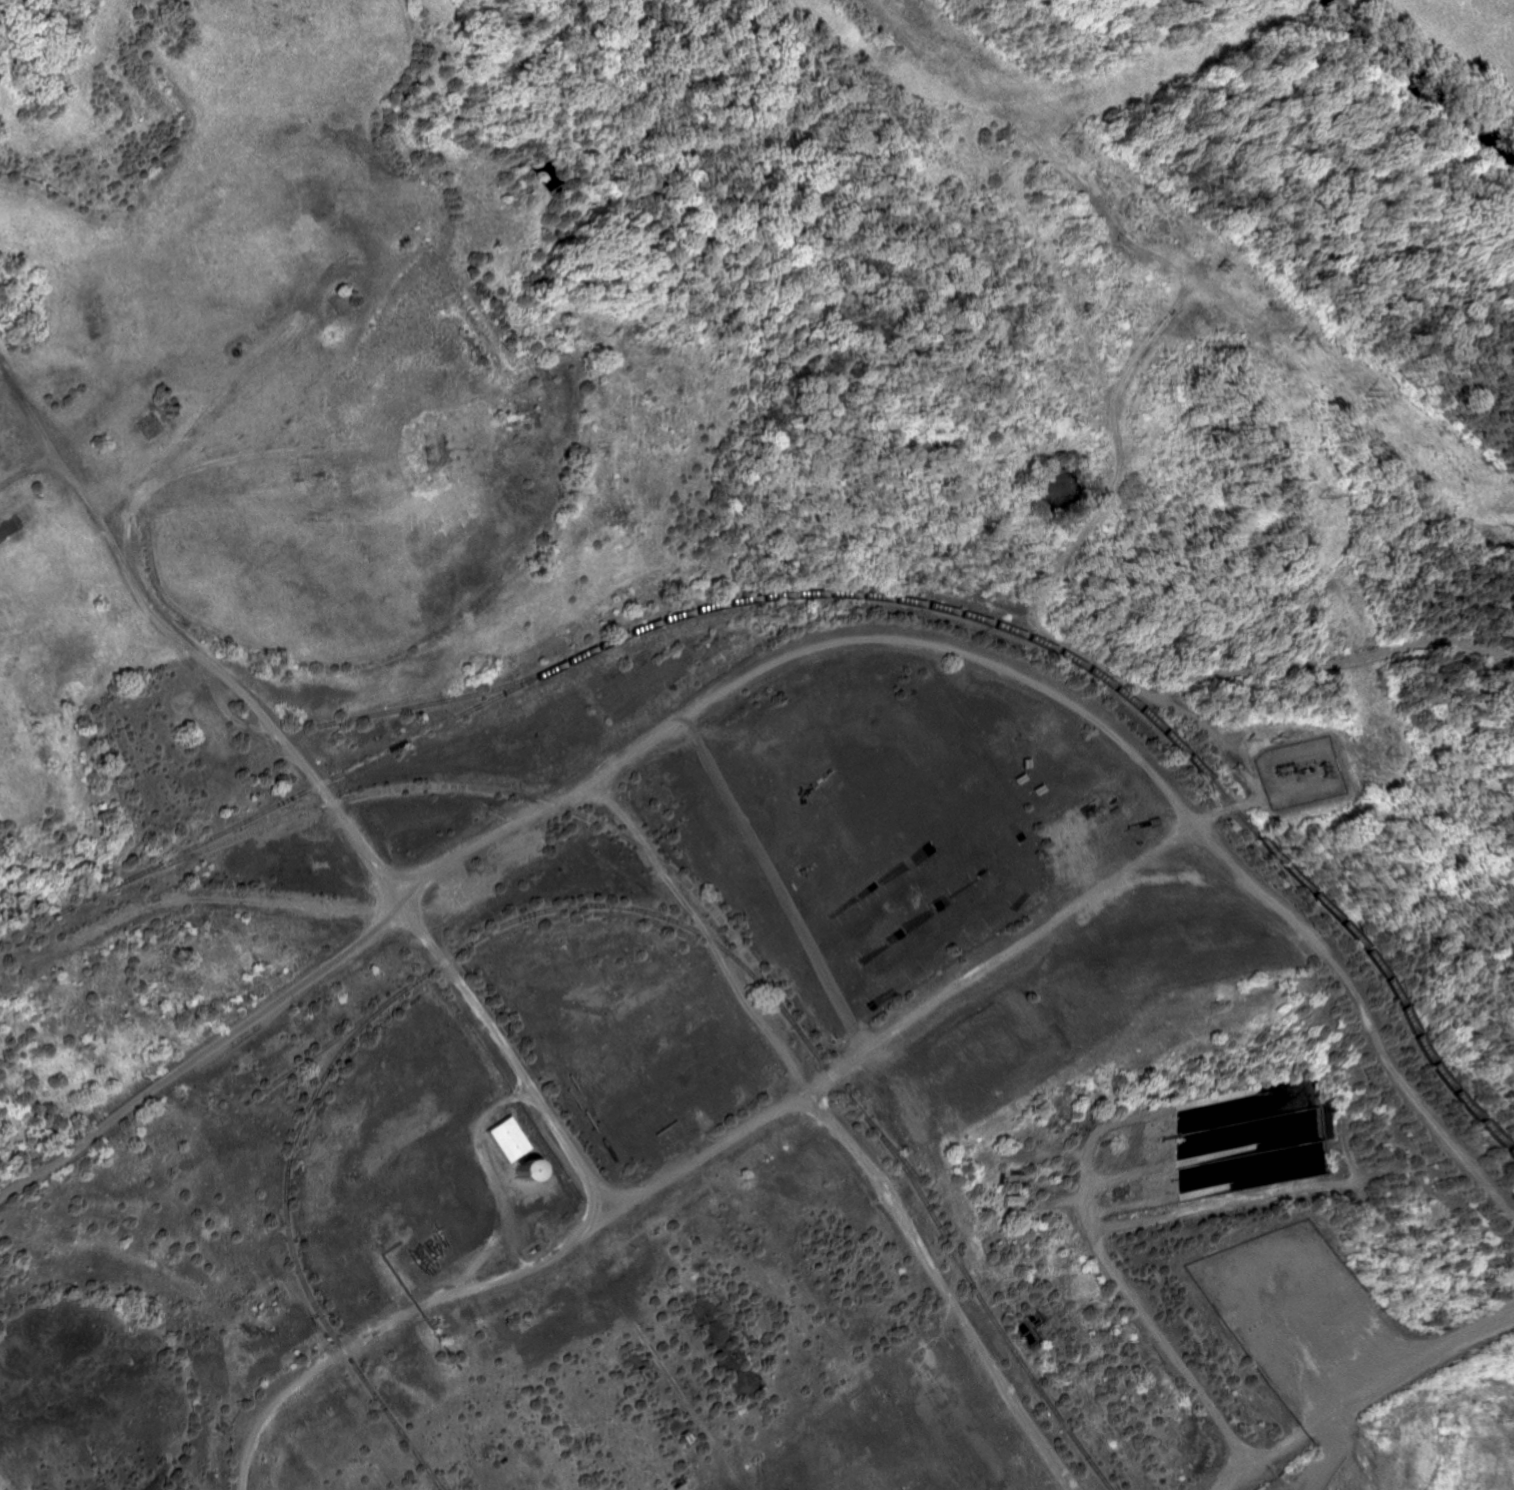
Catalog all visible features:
power tower: (1057, 133)
power tower: (1209, 267)
power tower: (1257, 308)
power tower: (1289, 337)
power tower: (1356, 392)
road: (106, 420)
power tower: (1312, 495)
railway: (886, 594)
railway: (424, 701)
road: (277, 734)
power tower: (1379, 750)
power tower: (1315, 765)
power substation: (1294, 769)
road: (589, 781)
railway: (500, 789)
road: (1134, 863)
road: (776, 885)
railway: (349, 1033)
railway: (324, 1042)
building: (509, 1139)
building: (1019, 1201)
road: (569, 1246)
railway: (954, 1251)
road: (941, 1290)
road: (1164, 1329)
road: (1385, 1373)

